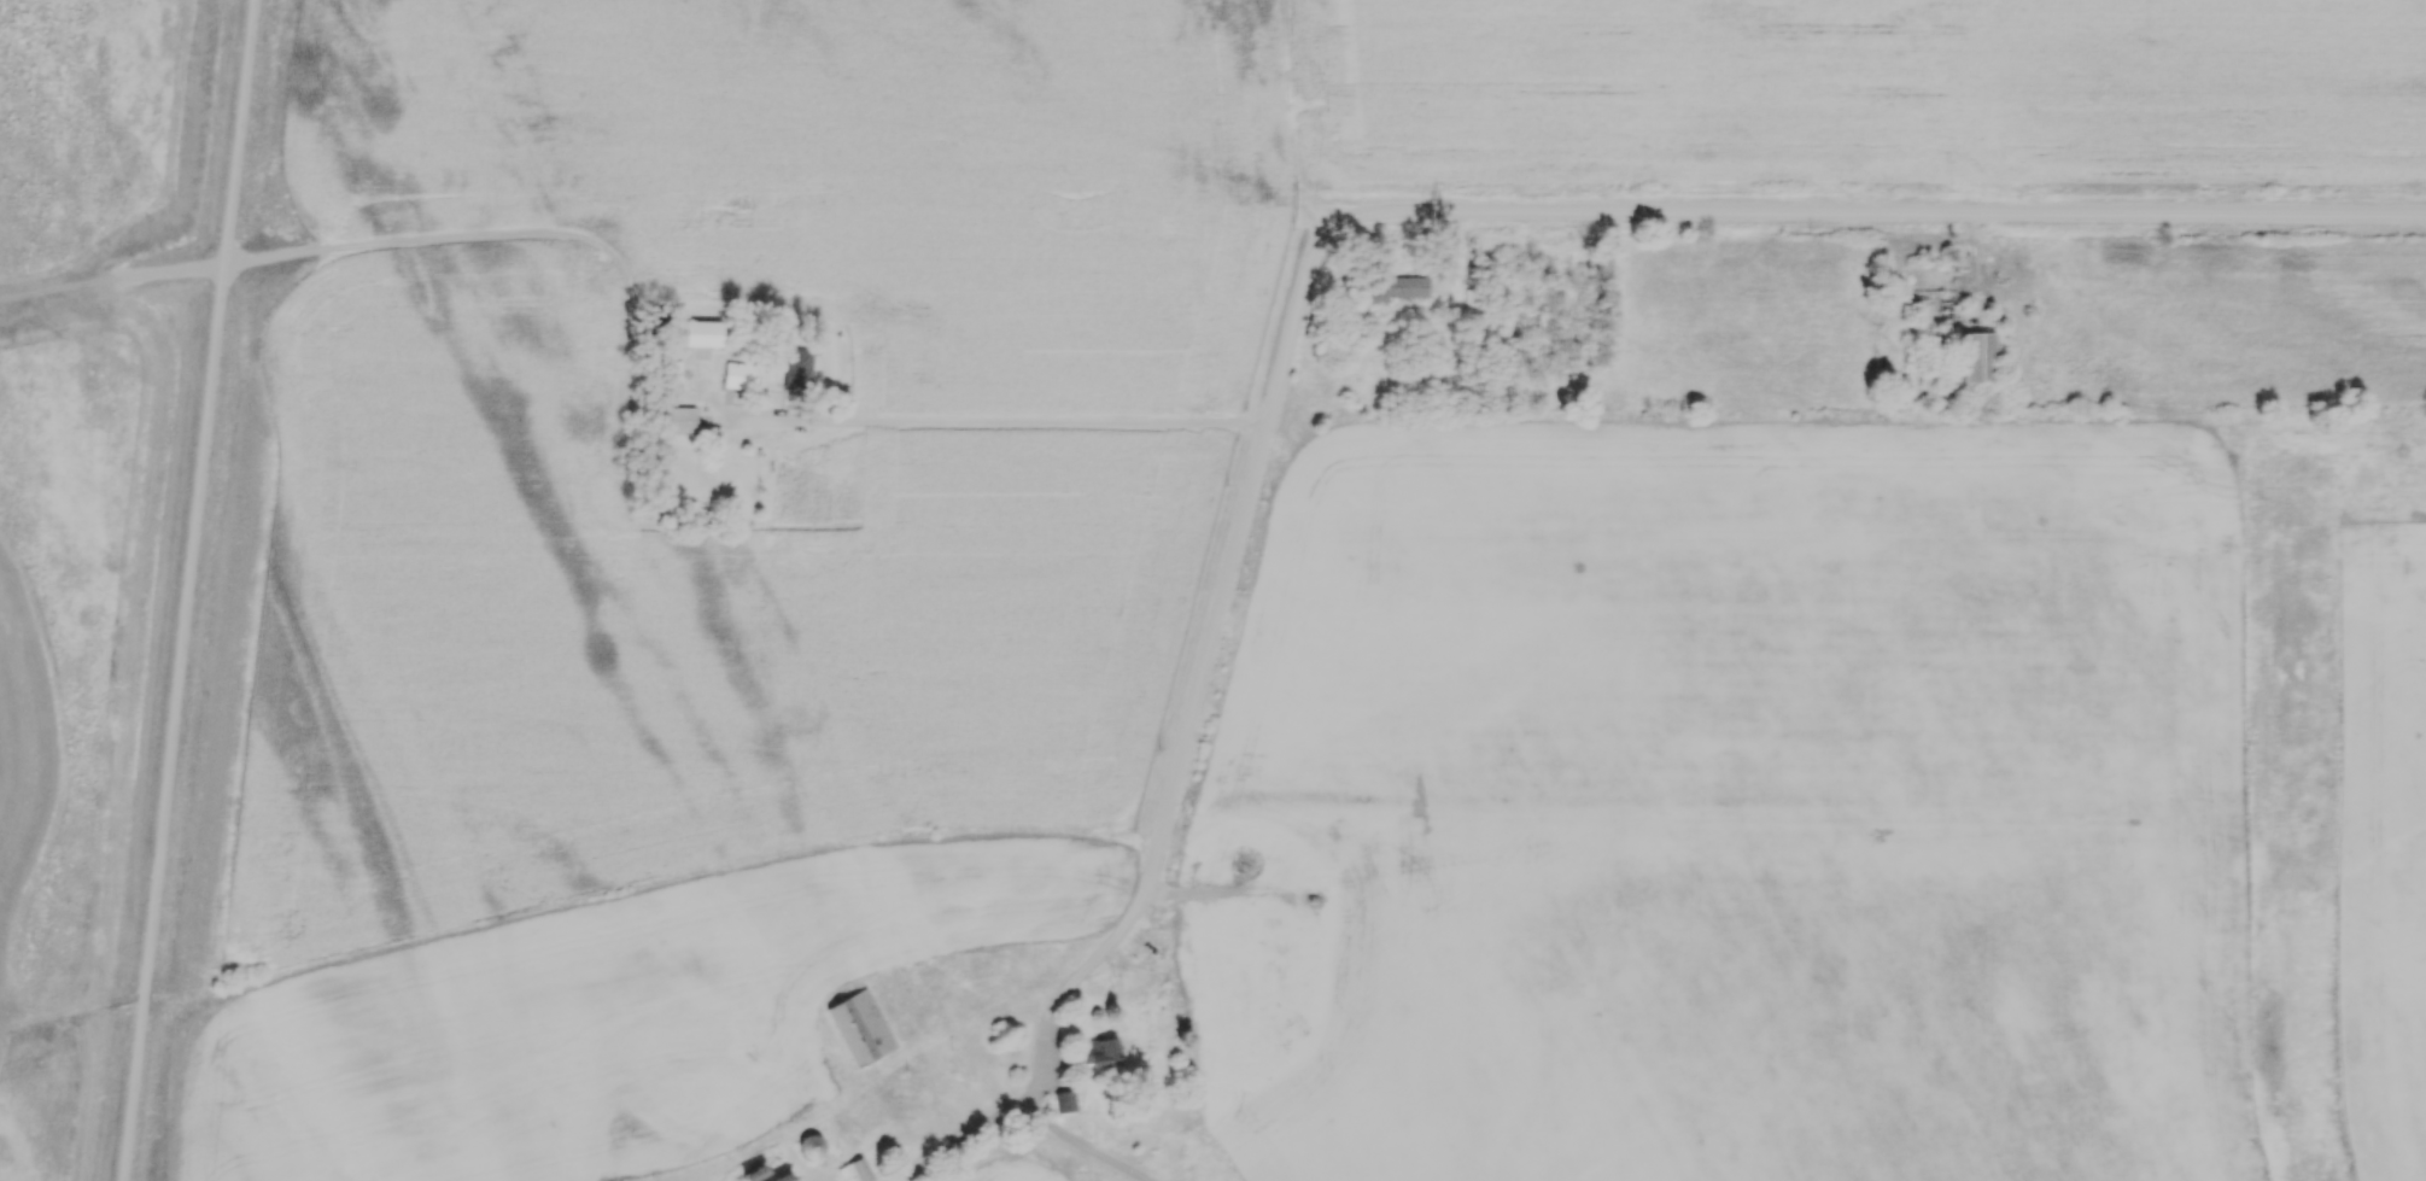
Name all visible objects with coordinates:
road: (1560, 210)
road: (993, 422)
road: (182, 590)
crop: (1734, 809)
road: (1085, 960)
crop: (23, 1101)
road: (957, 1135)
road: (1078, 1148)
crop: (1025, 1168)

